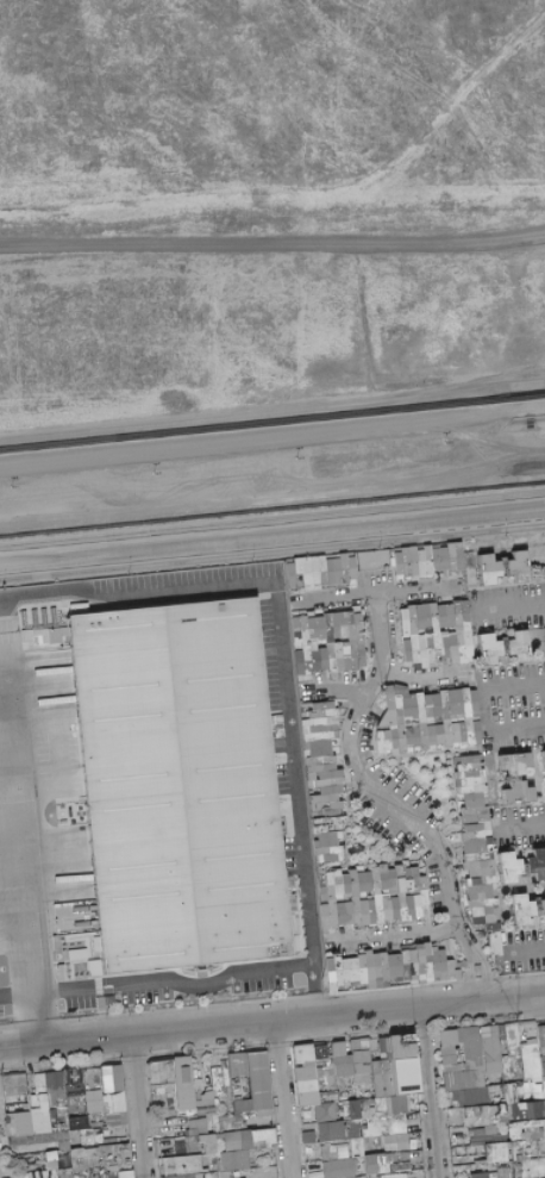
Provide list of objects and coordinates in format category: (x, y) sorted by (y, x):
road: (44, 46)
road: (272, 256)
road: (272, 405)
road: (271, 434)
road: (272, 494)
road: (272, 536)
building: (432, 546)
building: (416, 547)
building: (395, 549)
building: (347, 554)
building: (333, 555)
building: (456, 555)
building: (326, 556)
building: (441, 557)
building: (449, 557)
building: (425, 559)
building: (433, 559)
building: (287, 560)
building: (411, 560)
building: (403, 562)
building: (419, 562)
building: (396, 563)
building: (500, 563)
building: (384, 566)
building: (515, 566)
building: (342, 567)
building: (349, 567)
building: (486, 568)
building: (320, 569)
building: (336, 569)
building: (328, 571)
building: (476, 571)
building: (296, 572)
building: (305, 573)
building: (313, 573)
building: (289, 574)
building: (420, 575)
building: (427, 575)
building: (412, 576)
building: (476, 581)
road: (374, 593)
road: (516, 600)
building: (355, 610)
building: (308, 613)
building: (463, 613)
building: (447, 615)
building: (455, 615)
building: (416, 616)
building: (424, 616)
building: (431, 616)
building: (439, 616)
building: (409, 619)
building: (402, 622)
building: (333, 624)
building: (340, 624)
building: (349, 625)
building: (356, 625)
building: (311, 627)
building: (327, 627)
building: (319, 628)
building: (295, 629)
building: (302, 629)
building: (425, 630)
building: (444, 630)
building: (418, 631)
building: (449, 632)
road: (381, 634)
building: (544, 634)
building: (403, 637)
building: (342, 638)
building: (312, 640)
building: (336, 640)
building: (320, 641)
building: (357, 641)
building: (306, 642)
building: (296, 643)
building: (336, 643)
building: (343, 643)
building: (500, 643)
building: (543, 643)
building: (317, 644)
building: (458, 644)
building: (465, 644)
building: (516, 644)
building: (527, 644)
building: (296, 647)
building: (443, 647)
building: (426, 648)
building: (434, 648)
building: (451, 648)
building: (486, 648)
building: (412, 649)
building: (420, 649)
building: (406, 650)
building: (476, 650)
building: (350, 654)
building: (358, 654)
building: (544, 654)
building: (328, 656)
building: (321, 657)
building: (337, 657)
building: (344, 657)
building: (305, 659)
building: (313, 659)
building: (297, 661)
road: (418, 677)
road: (518, 685)
road: (339, 690)
building: (456, 700)
building: (471, 700)
building: (449, 702)
building: (463, 702)
building: (434, 703)
building: (395, 704)
building: (403, 704)
building: (441, 704)
building: (320, 705)
building: (411, 705)
building: (426, 705)
building: (418, 706)
building: (386, 708)
road: (489, 709)
building: (320, 712)
building: (472, 713)
building: (302, 715)
building: (457, 715)
building: (450, 716)
building: (436, 717)
building: (472, 717)
building: (427, 718)
building: (319, 719)
building: (433, 719)
building: (458, 719)
building: (412, 721)
building: (451, 721)
building: (431, 722)
building: (436, 722)
building: (427, 723)
building: (411, 724)
building: (405, 725)
road: (520, 725)
building: (382, 727)
building: (390, 727)
building: (317, 728)
building: (376, 728)
building: (303, 729)
building: (474, 729)
building: (466, 730)
building: (452, 731)
building: (459, 731)
building: (437, 733)
building: (444, 733)
building: (428, 734)
building: (315, 735)
building: (413, 735)
building: (420, 735)
building: (406, 736)
building: (399, 737)
building: (384, 738)
building: (390, 738)
building: (475, 741)
building: (377, 742)
building: (461, 742)
building: (315, 743)
building: (318, 752)
building: (305, 753)
building: (543, 756)
building: (319, 759)
building: (466, 759)
building: (512, 762)
road: (289, 765)
building: (319, 766)
building: (468, 766)
building: (327, 773)
building: (468, 773)
building: (314, 774)
building: (309, 775)
building: (510, 778)
building: (180, 779)
building: (326, 780)
building: (471, 780)
building: (457, 781)
building: (309, 783)
park: (431, 787)
building: (328, 789)
building: (470, 789)
building: (544, 789)
building: (514, 792)
parking lot: (148, 794)
building: (482, 794)
building: (470, 796)
building: (326, 797)
building: (312, 798)
building: (483, 802)
building: (471, 803)
building: (326, 804)
building: (311, 806)
building: (472, 810)
building: (324, 812)
road: (395, 812)
building: (484, 816)
building: (472, 817)
building: (461, 818)
building: (322, 819)
building: (462, 822)
building: (486, 824)
road: (520, 824)
building: (472, 827)
building: (325, 828)
building: (481, 833)
building: (466, 834)
building: (327, 835)
park: (377, 835)
building: (486, 840)
building: (471, 841)
building: (324, 842)
building: (487, 847)
building: (472, 848)
building: (327, 849)
road: (18, 852)
building: (340, 855)
building: (476, 855)
building: (327, 856)
building: (317, 858)
building: (489, 862)
building: (535, 862)
building: (475, 864)
building: (463, 865)
building: (496, 867)
building: (506, 867)
building: (521, 868)
building: (489, 871)
building: (319, 872)
building: (476, 872)
building: (351, 875)
building: (413, 875)
building: (397, 877)
building: (405, 877)
building: (382, 879)
building: (486, 879)
building: (367, 880)
building: (374, 880)
building: (389, 880)
building: (472, 880)
building: (336, 881)
building: (358, 881)
building: (420, 881)
building: (465, 881)
building: (344, 883)
building: (328, 884)
building: (320, 885)
building: (491, 885)
building: (477, 887)
building: (352, 889)
building: (411, 890)
building: (464, 890)
building: (386, 893)
building: (491, 893)
building: (364, 895)
building: (477, 895)
building: (464, 896)
building: (321, 897)
building: (342, 897)
building: (422, 897)
building: (400, 899)
building: (488, 900)
building: (472, 902)
building: (533, 903)
building: (353, 904)
building: (416, 904)
building: (540, 904)
building: (376, 908)
building: (384, 908)
building: (393, 908)
building: (408, 908)
building: (494, 908)
building: (480, 909)
building: (508, 909)
building: (519, 909)
building: (362, 911)
building: (370, 911)
building: (338, 912)
building: (346, 912)
building: (330, 914)
building: (401, 914)
building: (324, 916)
building: (495, 916)
building: (481, 917)
building: (355, 918)
building: (509, 922)
building: (489, 925)
road: (399, 934)
building: (494, 941)
building: (425, 953)
building: (327, 954)
building: (402, 955)
road: (522, 955)
building: (381, 958)
building: (497, 959)
building: (359, 960)
building: (418, 960)
building: (432, 960)
building: (439, 960)
building: (411, 961)
building: (367, 964)
building: (374, 964)
building: (396, 964)
building: (274, 965)
building: (389, 965)
building: (447, 966)
building: (351, 968)
building: (426, 968)
building: (476, 968)
building: (328, 970)
building: (344, 970)
building: (499, 970)
building: (336, 971)
building: (403, 971)
road: (483, 971)
building: (382, 972)
building: (433, 973)
building: (440, 973)
building: (453, 973)
road: (466, 973)
building: (359, 976)
building: (441, 977)
building: (396, 978)
building: (420, 978)
building: (427, 979)
building: (375, 981)
building: (345, 983)
building: (352, 983)
building: (368, 983)
building: (383, 983)
building: (330, 985)
road: (46, 989)
road: (37, 991)
road: (5, 995)
road: (272, 1021)
building: (544, 1022)
road: (44, 1031)
building: (464, 1034)
building: (509, 1034)
building: (500, 1035)
building: (540, 1035)
building: (528, 1041)
building: (363, 1045)
building: (514, 1045)
building: (382, 1046)
building: (399, 1046)
building: (337, 1048)
building: (445, 1049)
building: (502, 1049)
building: (540, 1049)
building: (471, 1051)
building: (318, 1053)
building: (363, 1054)
building: (377, 1054)
building: (489, 1054)
building: (534, 1054)
building: (538, 1054)
building: (355, 1055)
building: (374, 1055)
building: (445, 1062)
building: (528, 1062)
building: (236, 1064)
building: (342, 1065)
building: (378, 1065)
building: (543, 1065)
building: (359, 1066)
building: (453, 1067)
building: (461, 1067)
building: (470, 1067)
building: (218, 1070)
building: (401, 1070)
building: (322, 1071)
building: (158, 1072)
building: (300, 1072)
building: (182, 1074)
building: (308, 1076)
building: (173, 1077)
building: (318, 1077)
building: (359, 1077)
building: (541, 1077)
building: (37, 1079)
building: (108, 1079)
building: (257, 1079)
building: (463, 1079)
building: (530, 1080)
building: (218, 1082)
building: (328, 1082)
building: (68, 1083)
building: (381, 1083)
building: (12, 1084)
building: (159, 1084)
building: (196, 1085)
building: (182, 1086)
building: (521, 1086)
building: (237, 1087)
building: (246, 1087)
building: (322, 1087)
building: (396, 1087)
building: (407, 1087)
building: (39, 1090)
building: (154, 1090)
building: (535, 1090)
building: (58, 1091)
building: (219, 1091)
road: (432, 1091)
building: (508, 1092)
building: (164, 1093)
building: (115, 1095)
building: (202, 1095)
building: (325, 1096)
building: (342, 1096)
building: (358, 1096)
building: (465, 1096)
building: (483, 1096)
building: (221, 1097)
building: (74, 1098)
building: (93, 1099)
building: (108, 1099)
road: (282, 1099)
building: (501, 1099)
building: (30, 1101)
building: (359, 1101)
building: (214, 1102)
building: (380, 1102)
building: (406, 1102)
building: (453, 1103)
building: (240, 1104)
building: (394, 1104)
building: (203, 1105)
building: (541, 1105)
road: (136, 1107)
building: (535, 1107)
building: (14, 1108)
building: (375, 1108)
building: (525, 1108)
building: (351, 1109)
building: (340, 1110)
building: (482, 1110)
building: (500, 1110)
building: (321, 1111)
building: (470, 1111)
building: (512, 1111)
building: (186, 1112)
building: (490, 1112)
building: (69, 1114)
building: (180, 1114)
building: (38, 1115)
building: (113, 1115)
building: (535, 1115)
building: (469, 1118)
building: (269, 1120)
building: (484, 1120)
building: (497, 1120)
building: (55, 1121)
building: (230, 1122)
building: (343, 1122)
building: (15, 1123)
building: (95, 1123)
building: (520, 1123)
building: (383, 1124)
building: (195, 1127)
building: (543, 1127)
building: (353, 1128)
building: (539, 1128)
building: (328, 1129)
building: (345, 1129)
building: (489, 1129)
building: (532, 1129)
building: (343, 1130)
building: (71, 1132)
building: (477, 1132)
building: (469, 1134)
building: (217, 1136)
building: (307, 1136)
building: (544, 1136)
building: (88, 1138)
building: (261, 1138)
building: (495, 1138)
building: (520, 1138)
building: (243, 1139)
building: (38, 1140)
building: (65, 1140)
building: (121, 1140)
building: (419, 1140)
building: (475, 1140)
building: (230, 1141)
building: (371, 1141)
building: (414, 1141)
building: (54, 1142)
building: (206, 1142)
building: (387, 1142)
building: (402, 1142)
building: (44, 1143)
building: (184, 1143)
building: (413, 1146)
building: (88, 1147)
building: (518, 1148)
building: (250, 1149)
building: (334, 1149)
building: (58, 1152)
building: (365, 1152)
building: (494, 1152)
building: (95, 1154)
building: (124, 1154)
building: (414, 1154)
building: (212, 1157)
building: (399, 1157)
building: (381, 1158)
building: (79, 1159)
building: (49, 1160)
building: (76, 1160)
building: (190, 1160)
building: (232, 1160)
building: (29, 1163)
building: (64, 1163)
building: (38, 1164)
building: (369, 1164)
building: (217, 1165)
building: (338, 1167)
building: (106, 1168)
building: (169, 1168)
building: (79, 1172)
building: (46, 1173)
building: (63, 1173)
building: (130, 1173)
building: (226, 1173)
building: (234, 1173)
building: (31, 1174)
building: (118, 1174)
building: (198, 1174)
building: (484, 1174)
building: (25, 1176)
building: (180, 1176)
building: (393, 1176)

